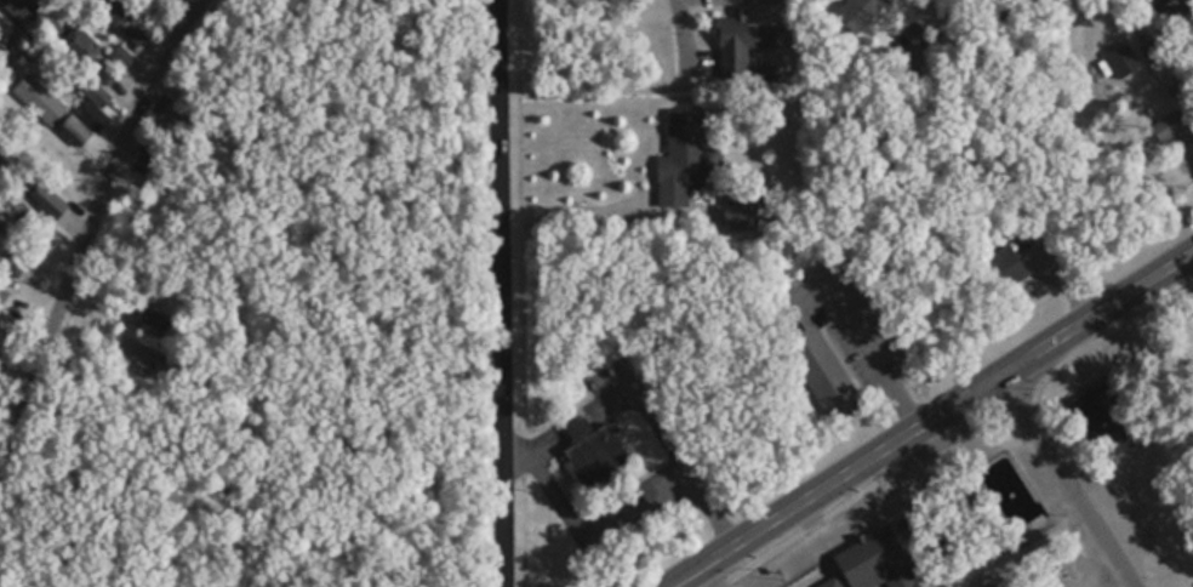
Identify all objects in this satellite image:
building: (19, 7)
building: (857, 12)
building: (124, 18)
road: (954, 22)
building: (4, 28)
building: (740, 33)
building: (93, 53)
building: (1119, 58)
road: (690, 59)
building: (57, 108)
building: (1186, 132)
building: (679, 156)
building: (741, 210)
road: (575, 215)
road: (520, 216)
road: (92, 234)
building: (1005, 269)
road: (503, 293)
building: (2, 295)
road: (1050, 296)
building: (155, 321)
road: (868, 347)
building: (815, 367)
road: (927, 416)
building: (1103, 416)
road: (571, 423)
road: (535, 445)
building: (590, 450)
road: (814, 454)
road: (691, 471)
road: (1069, 480)
road: (628, 484)
road: (610, 486)
road: (709, 508)
road: (524, 530)
building: (909, 541)
road: (658, 551)
building: (885, 554)

